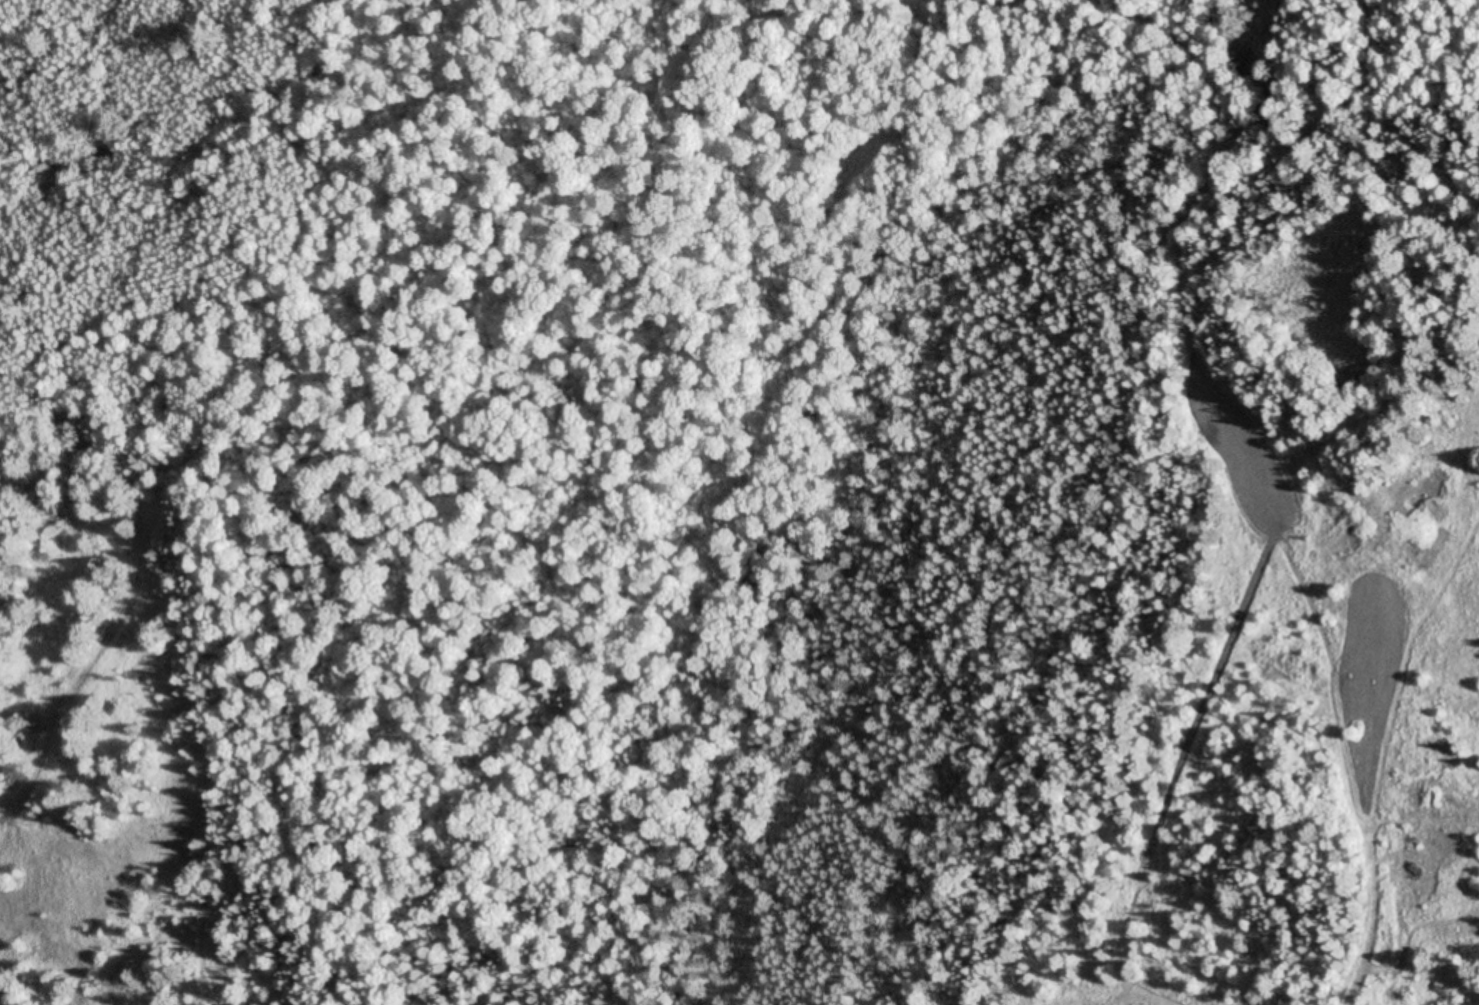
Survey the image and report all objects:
building: (1343, 729)

